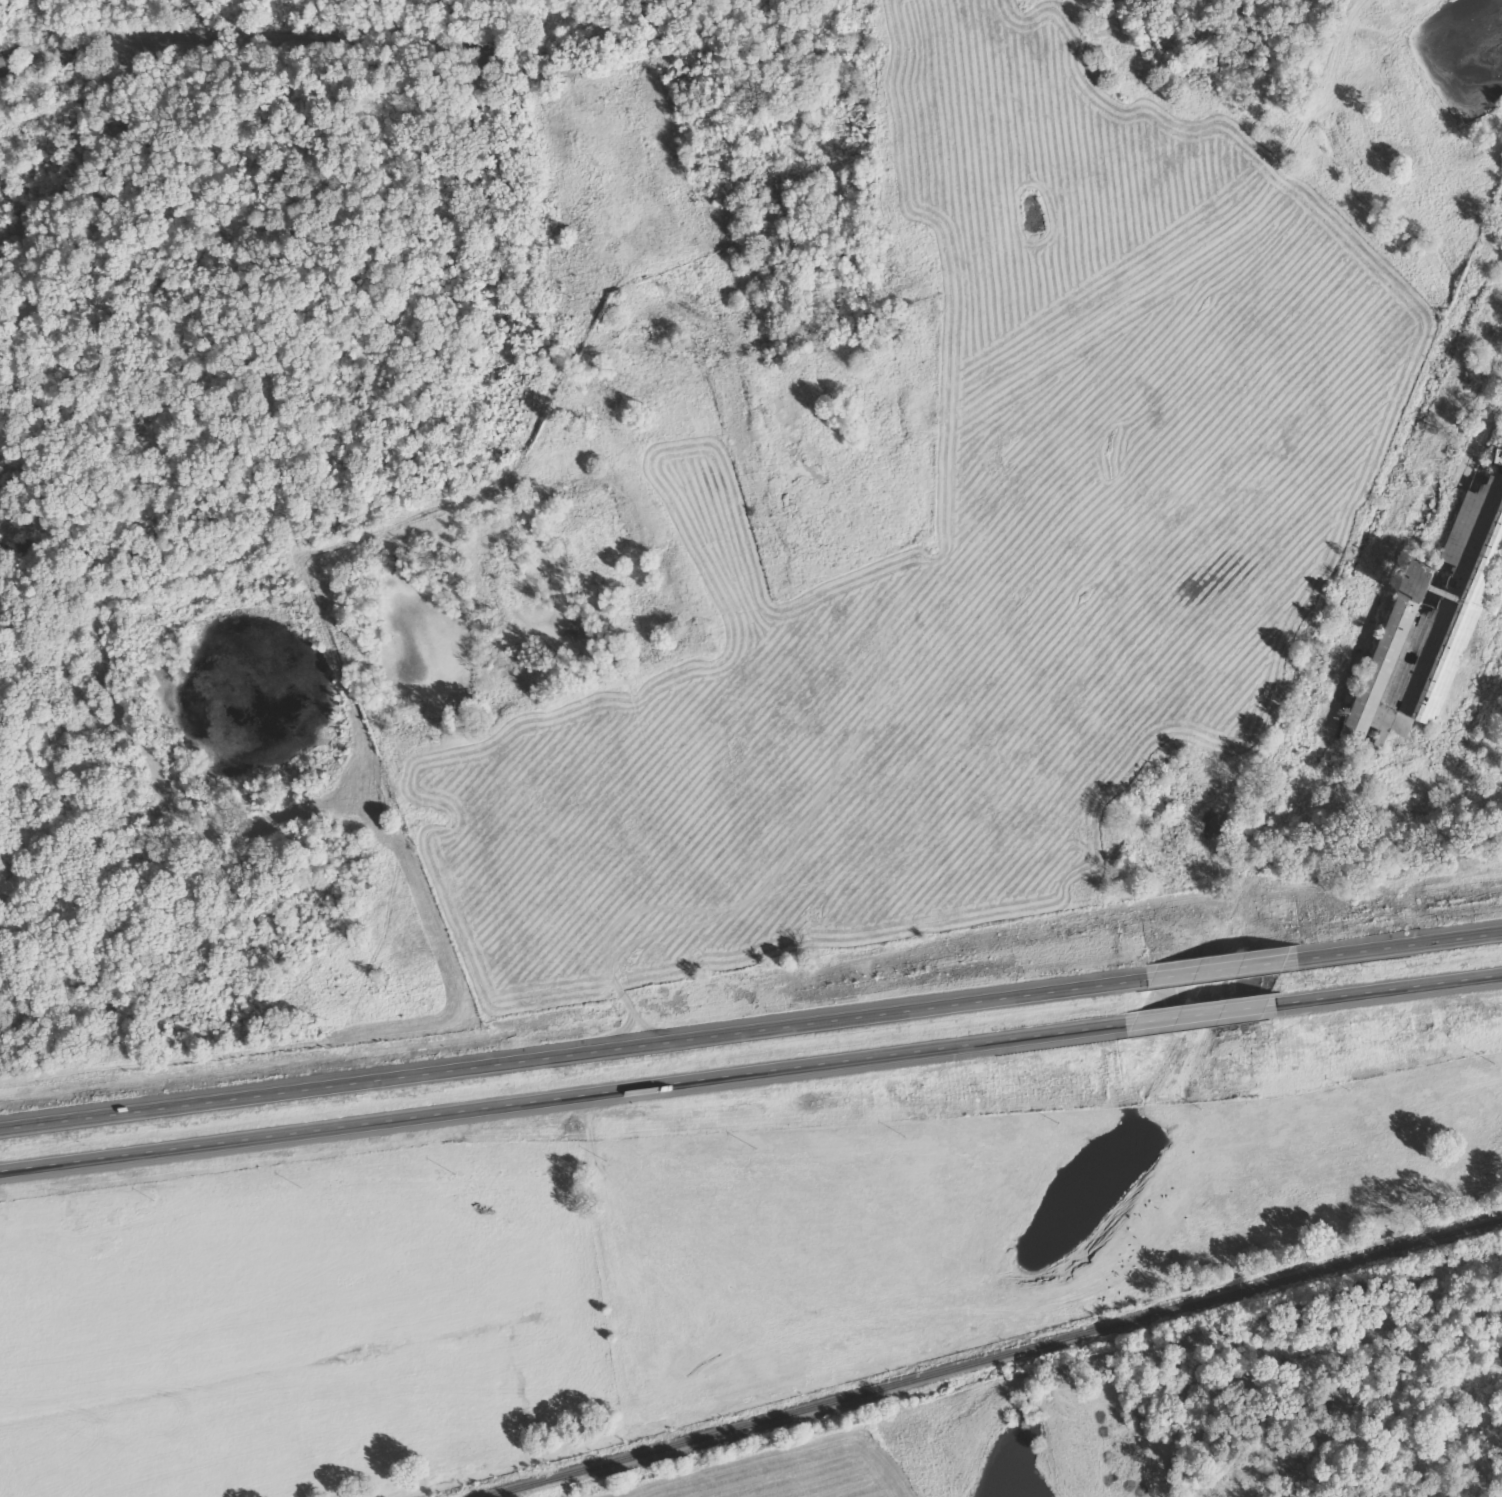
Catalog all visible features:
building: (1436, 613)
road: (751, 1022)
road: (751, 1068)
railway: (992, 1358)

